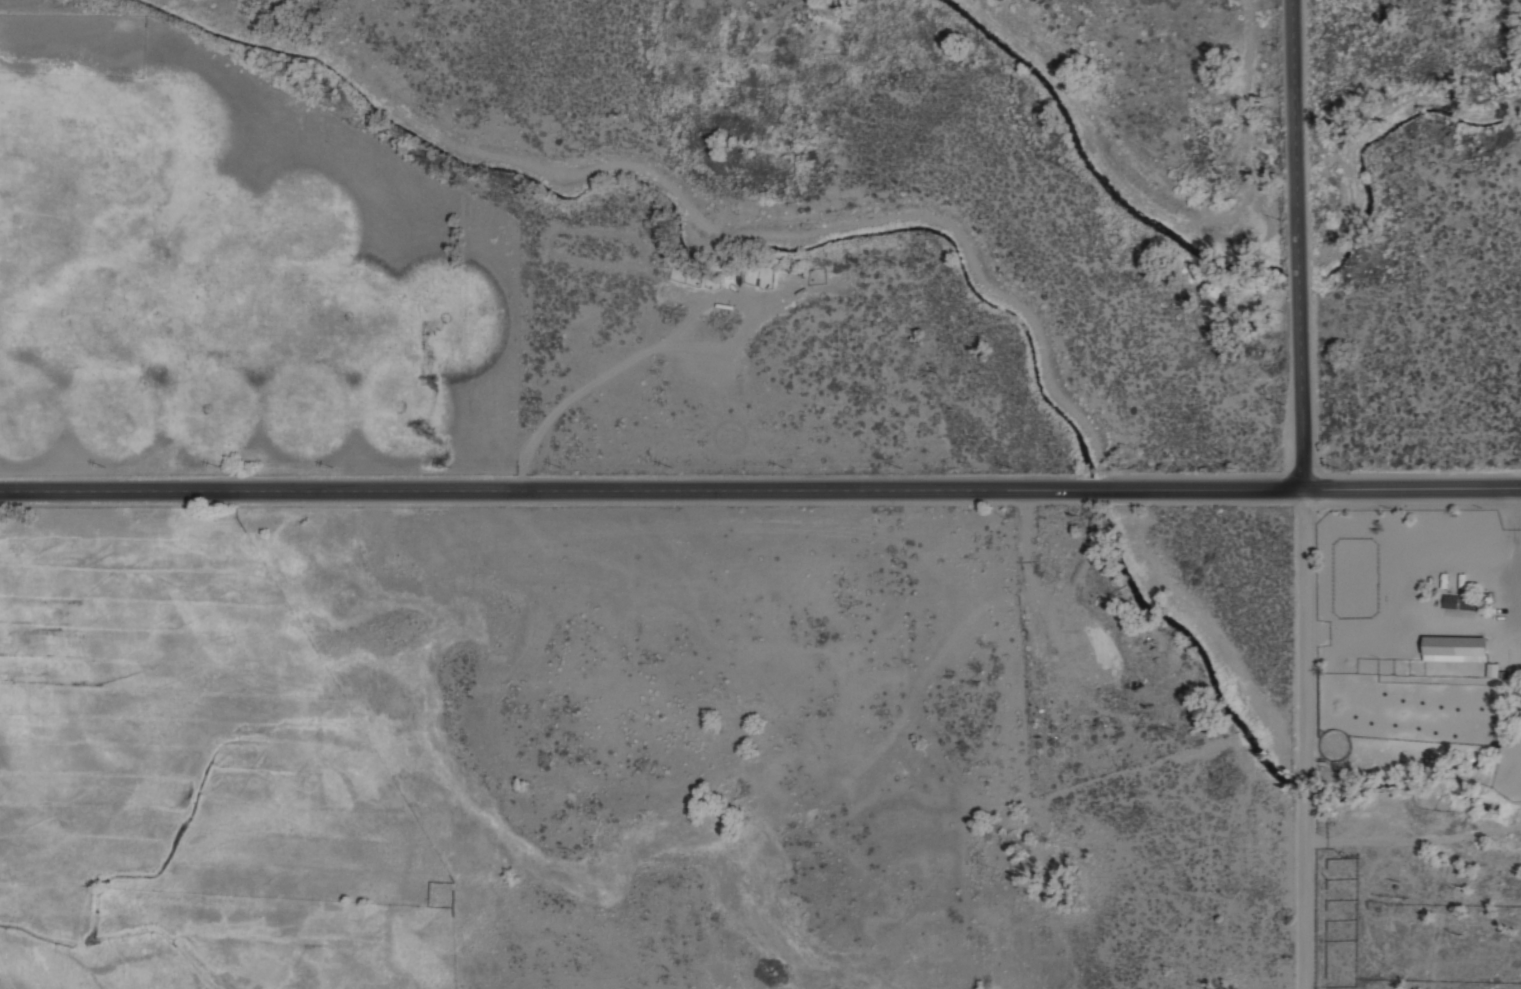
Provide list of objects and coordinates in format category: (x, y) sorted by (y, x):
road: (1295, 244)
road: (1411, 487)
road: (651, 490)
building: (1457, 601)
building: (1457, 647)
building: (1493, 668)
road: (1305, 738)

